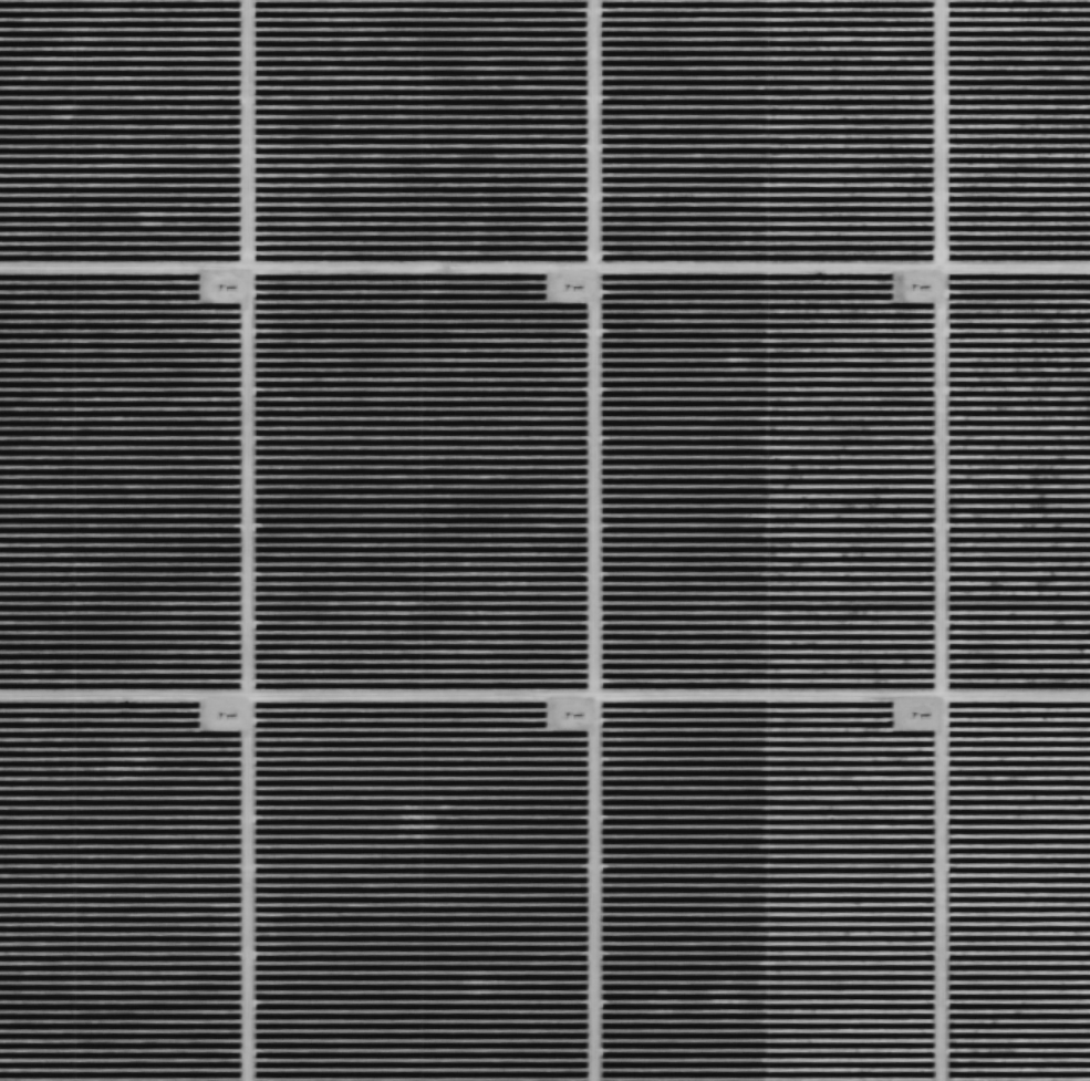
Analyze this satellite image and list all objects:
solar farm: (544, 540)

